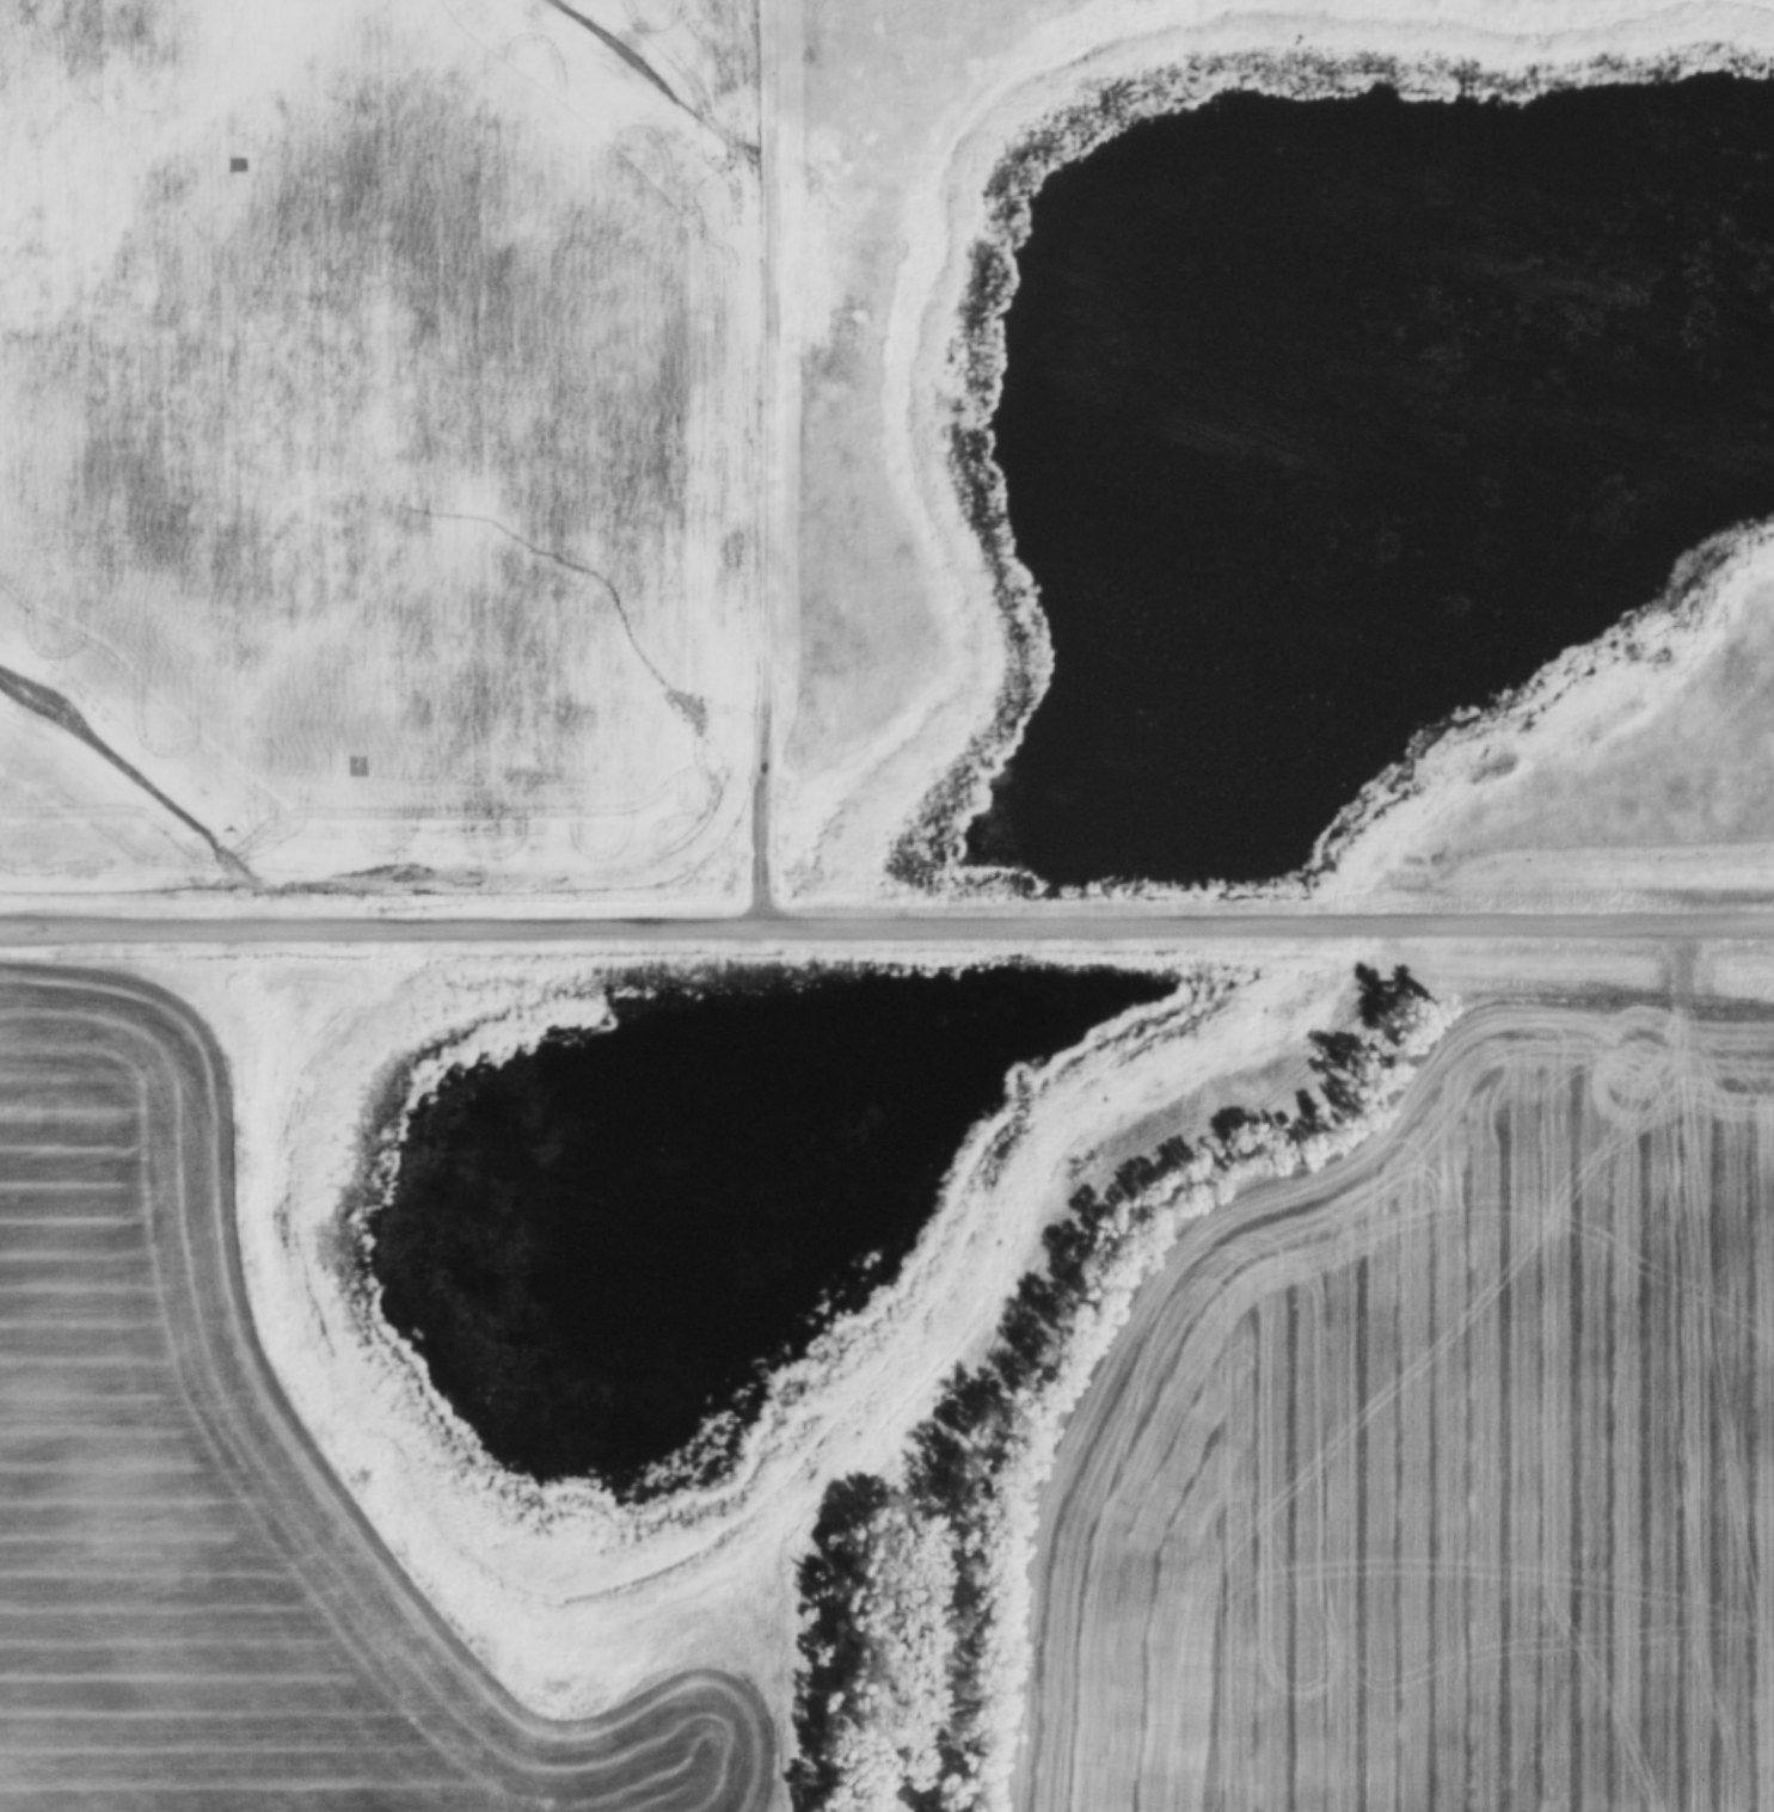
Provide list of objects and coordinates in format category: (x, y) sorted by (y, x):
road: (765, 459)
road: (886, 917)

